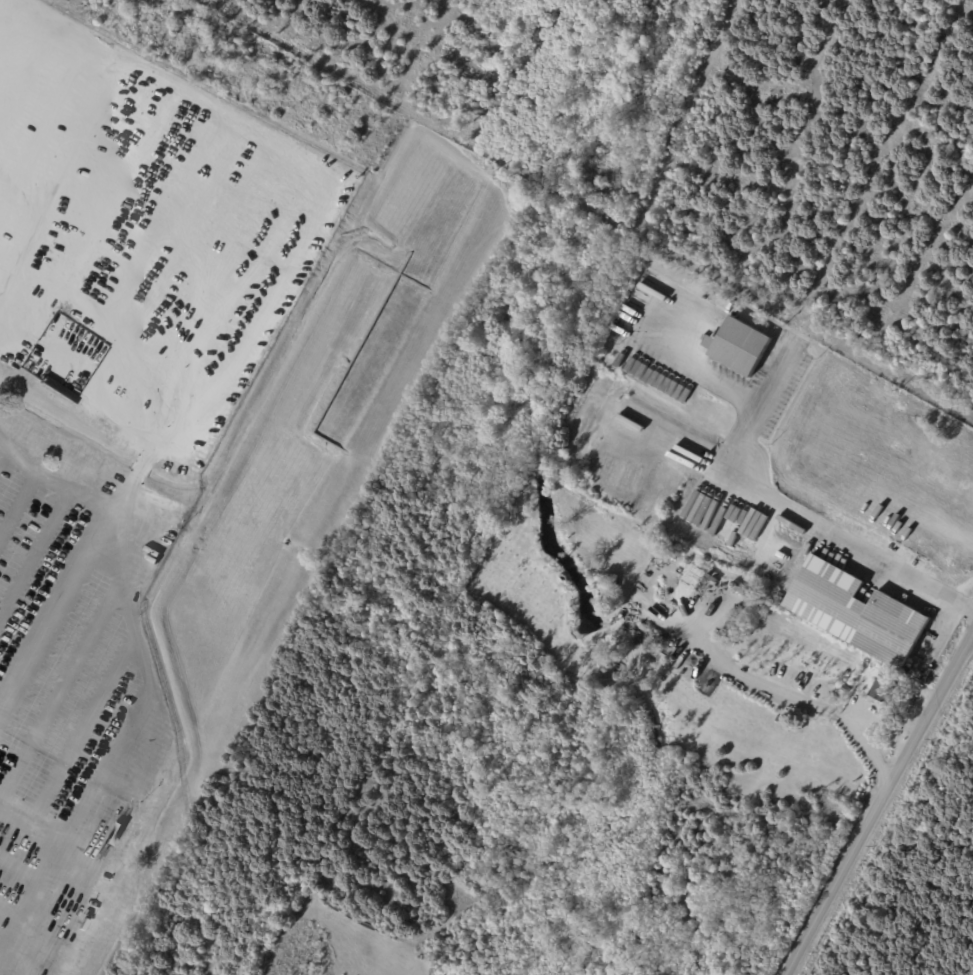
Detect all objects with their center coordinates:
building: (739, 344)
building: (762, 373)
road: (770, 386)
road: (3, 451)
road: (779, 498)
road: (19, 506)
road: (35, 551)
building: (744, 592)
building: (744, 612)
building: (858, 612)
building: (732, 626)
road: (46, 636)
road: (145, 676)
building: (882, 690)
road: (785, 692)
road: (57, 695)
road: (82, 726)
road: (879, 809)
road: (35, 822)
road: (28, 871)
road: (19, 912)
road: (10, 951)

